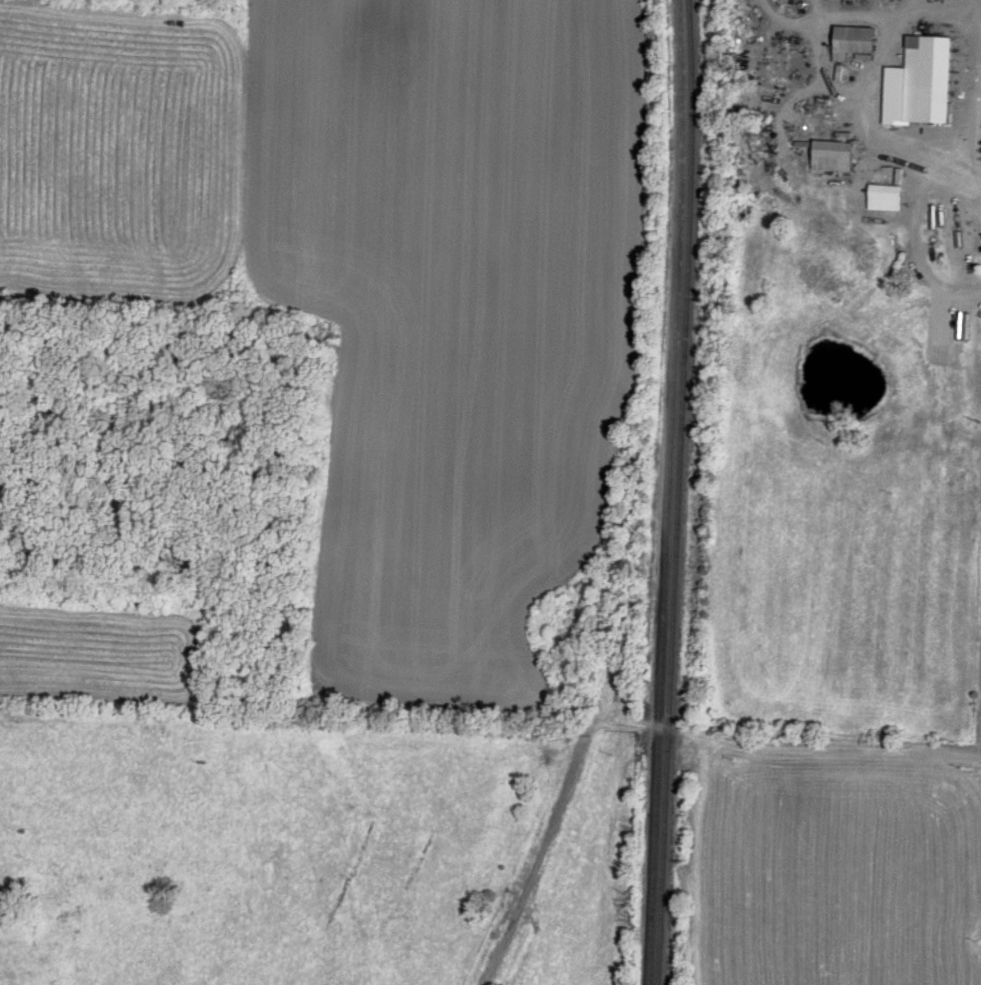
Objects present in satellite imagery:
building: (857, 41)
building: (930, 79)
building: (836, 156)
railway: (688, 159)
road: (907, 161)
road: (979, 189)
building: (886, 197)
railway: (666, 492)
railway: (669, 651)
road: (788, 747)

